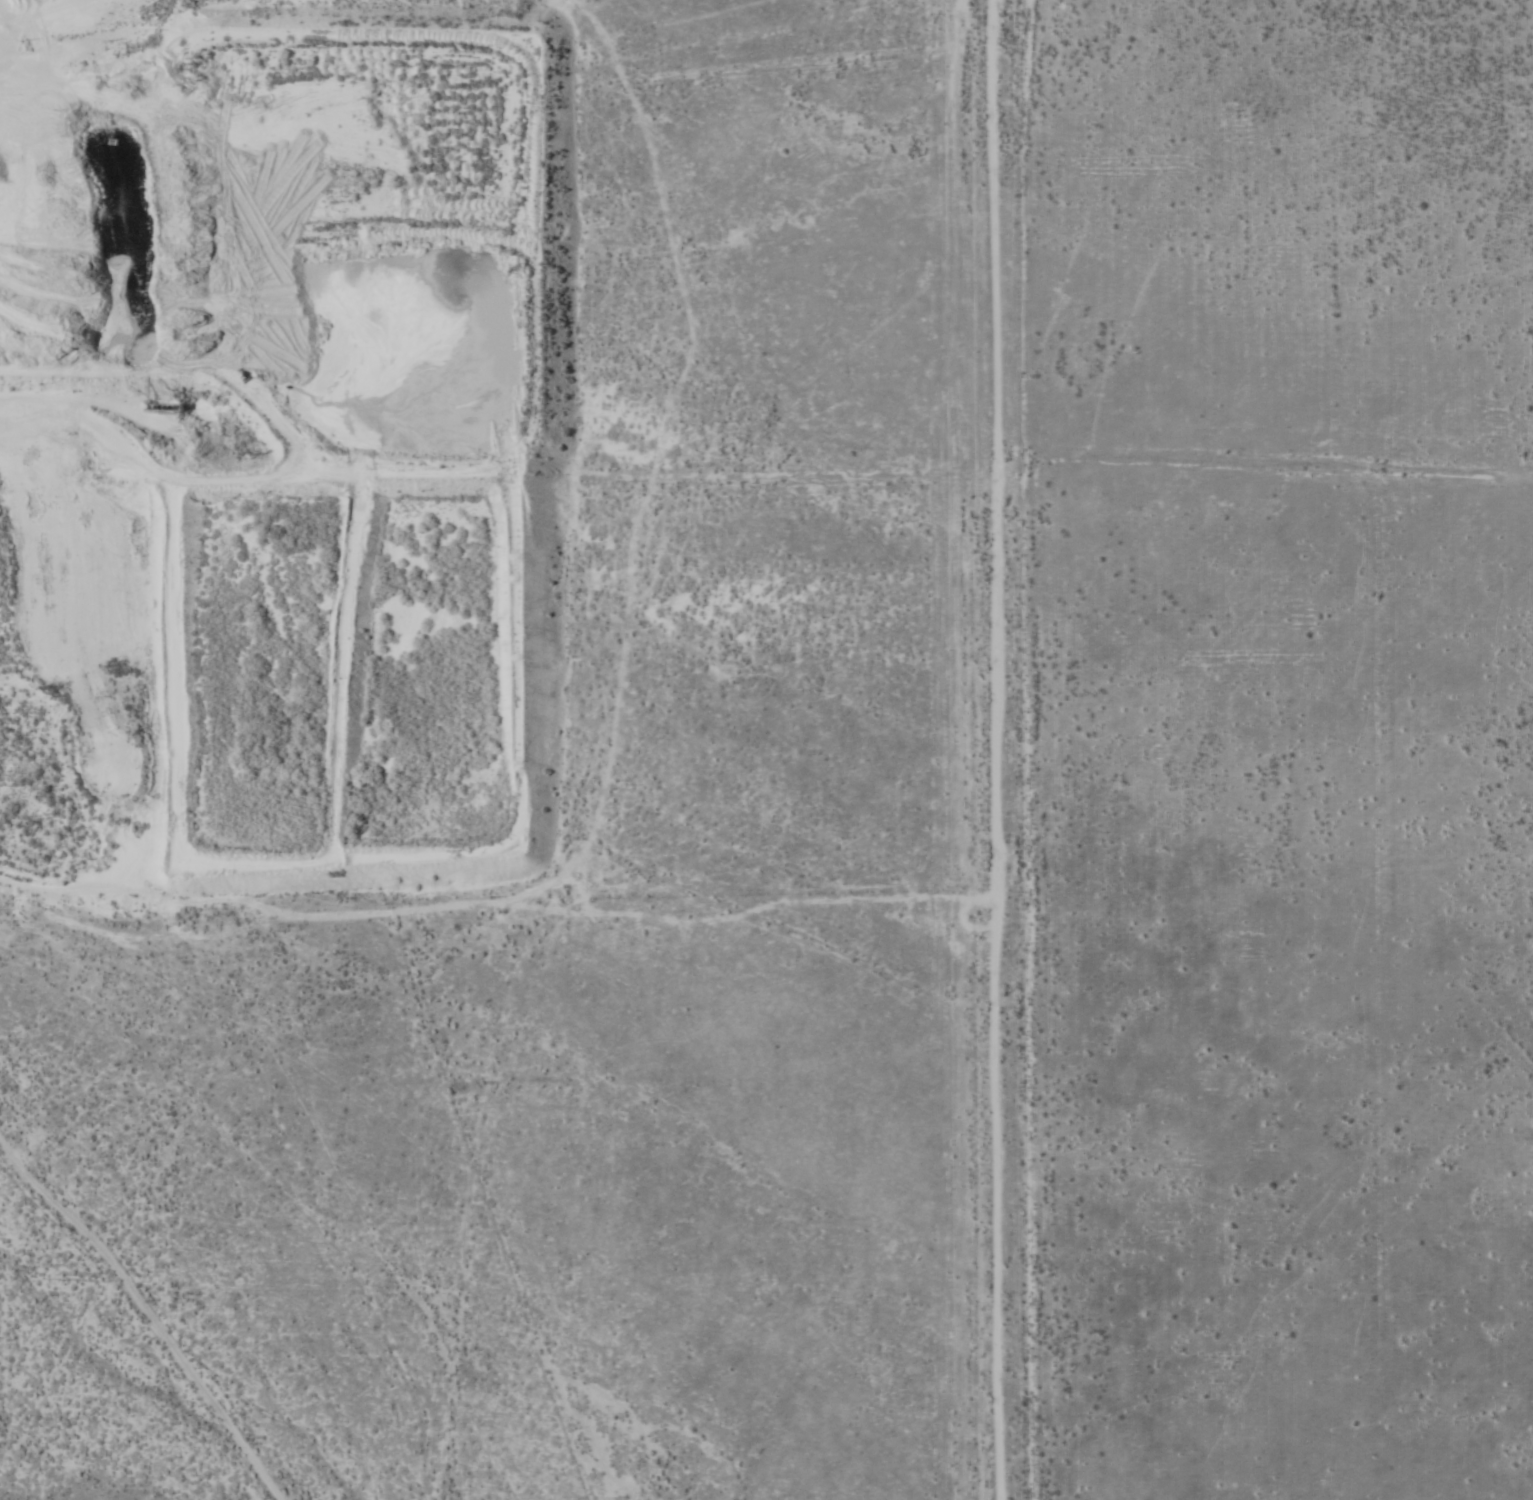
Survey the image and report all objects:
road: (267, 55)
road: (36, 603)
road: (142, 1304)

